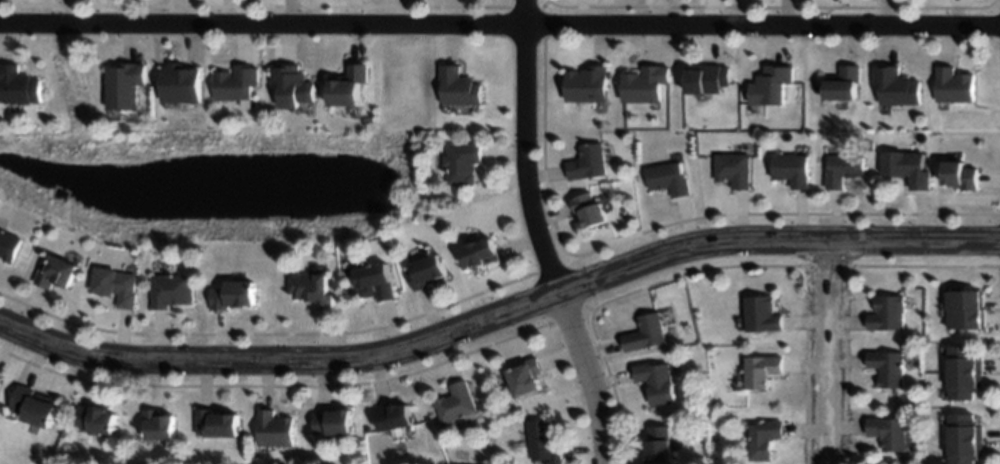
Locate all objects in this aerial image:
road: (500, 27)
building: (707, 77)
building: (842, 81)
building: (235, 82)
building: (585, 83)
building: (643, 83)
building: (952, 83)
building: (122, 84)
building: (182, 84)
building: (291, 84)
building: (347, 84)
building: (457, 84)
building: (770, 84)
building: (17, 85)
building: (894, 85)
building: (868, 145)
building: (460, 161)
building: (586, 161)
building: (906, 166)
building: (731, 168)
building: (841, 168)
building: (790, 169)
building: (959, 174)
building: (668, 178)
building: (587, 208)
road: (534, 236)
building: (8, 245)
building: (194, 248)
building: (478, 251)
building: (425, 271)
building: (55, 272)
building: (374, 281)
building: (115, 285)
building: (310, 287)
building: (171, 289)
building: (230, 293)
building: (963, 308)
building: (886, 312)
building: (761, 313)
road: (500, 319)
building: (644, 333)
road: (823, 352)
building: (886, 366)
building: (762, 369)
building: (963, 371)
building: (0, 375)
building: (523, 376)
building: (0, 379)
building: (655, 380)
building: (454, 402)
building: (33, 407)
building: (392, 414)
building: (94, 418)
building: (332, 421)
building: (214, 422)
building: (156, 423)
building: (273, 428)
building: (887, 430)
building: (763, 438)
building: (965, 438)
building: (542, 441)
building: (657, 444)

